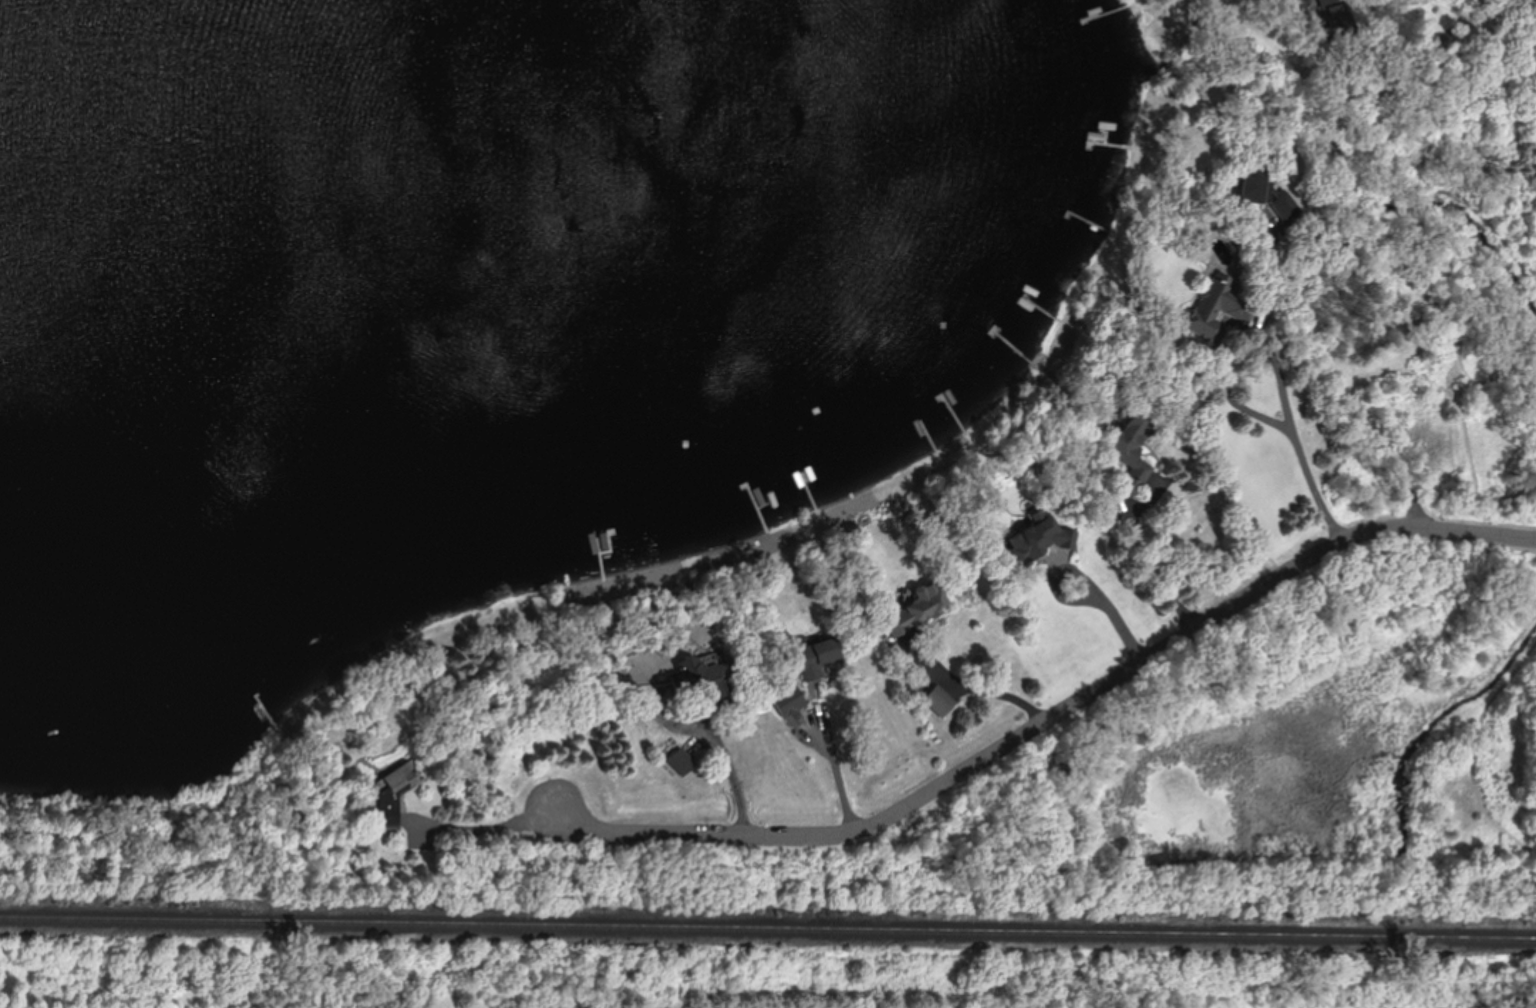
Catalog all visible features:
building: (1251, 181)
building: (1283, 205)
building: (1212, 307)
road: (1341, 380)
road: (1279, 435)
building: (1130, 449)
building: (1036, 542)
road: (1154, 562)
road: (1106, 602)
building: (913, 610)
building: (816, 658)
road: (958, 685)
building: (939, 701)
road: (830, 739)
road: (991, 753)
building: (681, 763)
building: (393, 790)
railway: (768, 926)

